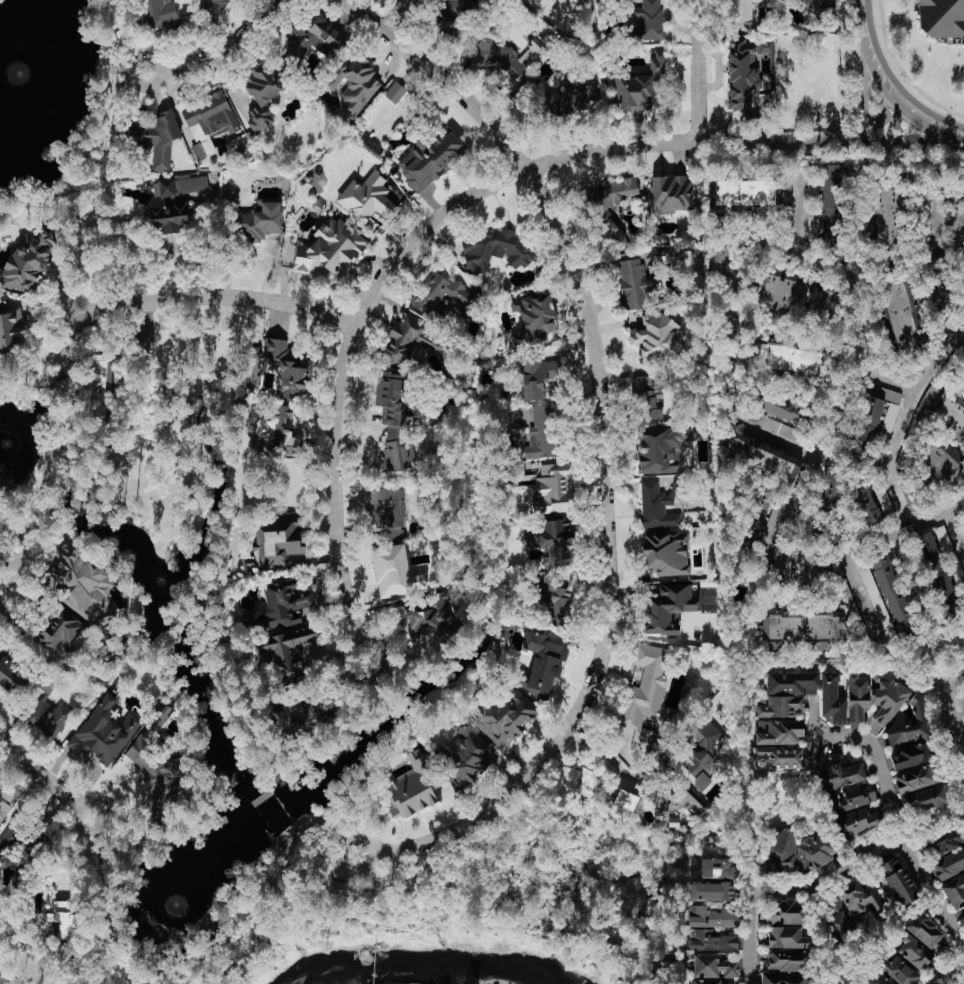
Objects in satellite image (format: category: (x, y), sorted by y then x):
building: (216, 5)
building: (821, 7)
road: (866, 7)
building: (743, 9)
building: (450, 12)
building: (160, 13)
road: (396, 16)
building: (941, 18)
building: (649, 20)
building: (311, 40)
road: (222, 47)
building: (765, 47)
building: (507, 55)
road: (876, 60)
road: (155, 66)
road: (699, 70)
building: (742, 73)
road: (865, 77)
building: (354, 84)
building: (638, 86)
building: (395, 93)
building: (261, 94)
building: (797, 94)
building: (568, 97)
road: (917, 114)
building: (208, 123)
road: (950, 130)
building: (153, 138)
road: (913, 139)
building: (431, 158)
building: (191, 184)
building: (748, 193)
building: (671, 195)
building: (370, 198)
building: (813, 202)
building: (832, 205)
building: (886, 210)
building: (169, 212)
building: (603, 214)
road: (445, 215)
road: (941, 215)
building: (955, 220)
building: (261, 222)
building: (331, 250)
building: (495, 251)
building: (27, 261)
road: (732, 279)
building: (633, 285)
road: (849, 287)
road: (225, 296)
building: (795, 296)
building: (442, 297)
building: (903, 313)
road: (90, 319)
building: (534, 319)
road: (802, 323)
building: (11, 325)
building: (657, 340)
building: (406, 341)
building: (790, 356)
building: (287, 370)
building: (537, 376)
building: (99, 384)
road: (811, 402)
building: (780, 406)
building: (950, 416)
building: (395, 421)
building: (768, 423)
building: (868, 423)
building: (272, 430)
building: (542, 433)
road: (604, 441)
building: (661, 449)
building: (763, 458)
building: (941, 462)
road: (894, 484)
building: (830, 487)
building: (554, 490)
building: (865, 502)
building: (657, 507)
road: (861, 509)
building: (763, 518)
road: (923, 519)
building: (556, 543)
building: (275, 544)
road: (789, 550)
building: (666, 554)
road: (13, 569)
building: (394, 572)
building: (938, 574)
road: (782, 575)
building: (85, 587)
building: (892, 594)
building: (554, 600)
building: (876, 600)
building: (285, 603)
building: (668, 609)
building: (429, 617)
building: (803, 629)
building: (61, 632)
building: (291, 654)
building: (541, 664)
building: (10, 673)
building: (645, 693)
building: (786, 694)
building: (875, 697)
building: (832, 699)
road: (951, 710)
building: (314, 715)
road: (958, 715)
building: (49, 718)
building: (506, 718)
building: (909, 725)
building: (779, 732)
building: (102, 734)
road: (875, 749)
road: (607, 753)
building: (703, 753)
building: (467, 757)
building: (911, 757)
building: (777, 758)
building: (841, 776)
building: (916, 778)
road: (46, 780)
building: (415, 785)
building: (851, 798)
building: (925, 799)
building: (626, 800)
building: (858, 822)
road: (933, 826)
building: (945, 841)
building: (814, 852)
building: (782, 853)
road: (866, 859)
road: (91, 861)
road: (370, 862)
building: (948, 865)
building: (717, 869)
building: (899, 882)
building: (711, 891)
building: (955, 892)
building: (861, 899)
building: (786, 912)
building: (711, 917)
building: (837, 918)
building: (67, 923)
building: (712, 941)
building: (788, 950)
building: (915, 953)
river: (416, 963)
building: (715, 967)
building: (899, 971)
building: (785, 978)
building: (878, 979)
building: (710, 982)

